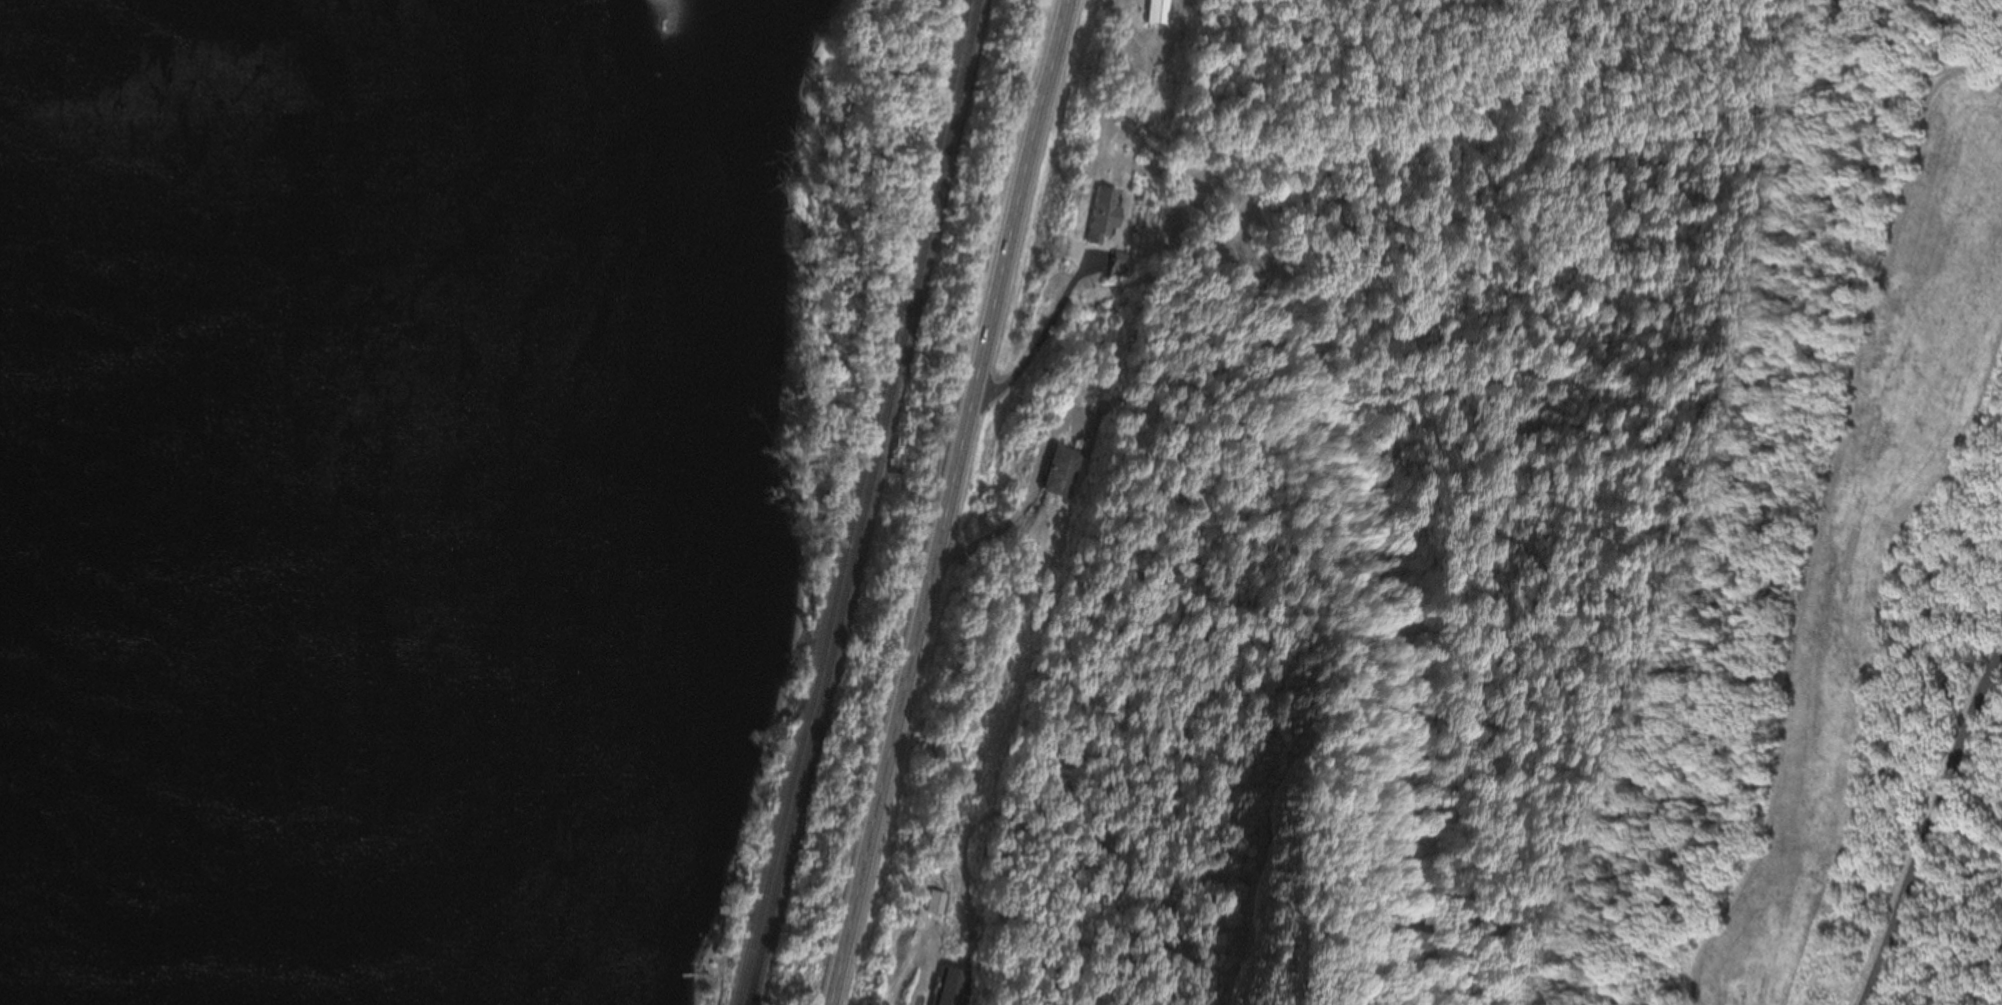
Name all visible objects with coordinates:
building: (1096, 215)
building: (1119, 265)
road: (1040, 340)
building: (1060, 471)
river: (297, 502)
road: (945, 502)
railway: (852, 503)
railway: (864, 503)
road: (1018, 519)
road: (1929, 827)
building: (934, 903)

